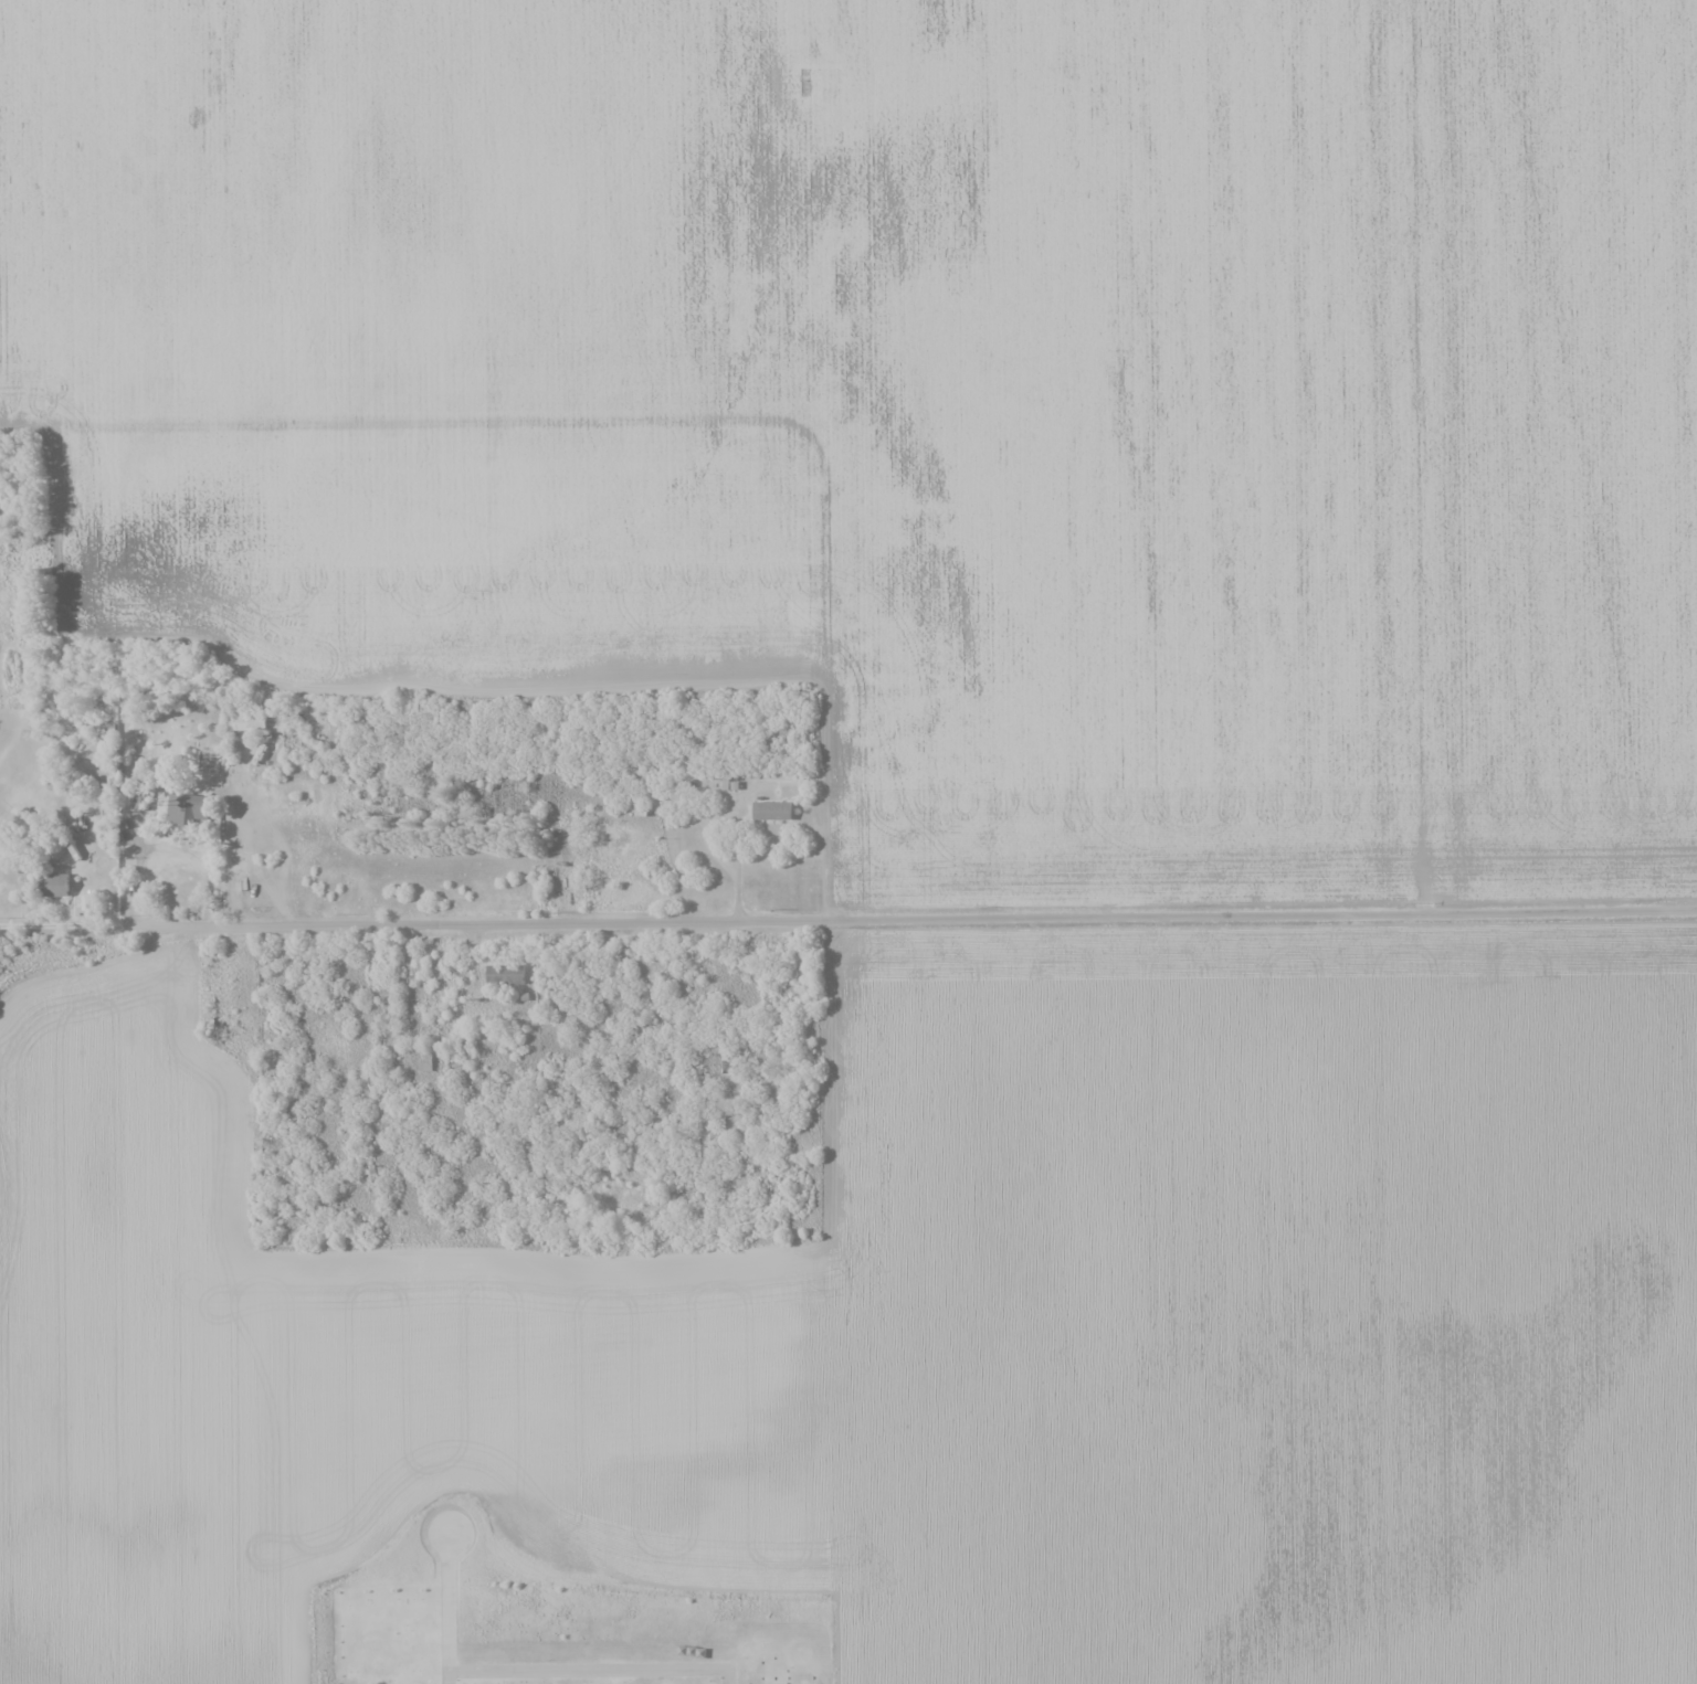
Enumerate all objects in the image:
road: (650, 417)
building: (253, 724)
building: (143, 801)
road: (732, 808)
building: (185, 809)
building: (773, 811)
road: (171, 847)
building: (53, 885)
road: (847, 917)
building: (507, 974)
building: (726, 1060)
park: (584, 1657)
road: (590, 1669)

